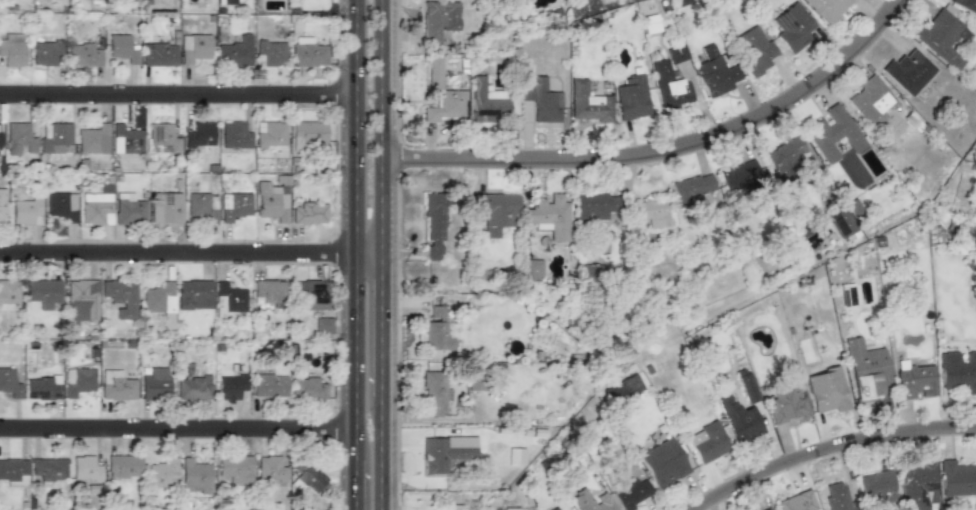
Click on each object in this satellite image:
building: (131, 2)
building: (226, 2)
building: (965, 5)
building: (827, 8)
building: (439, 20)
building: (650, 24)
building: (793, 27)
building: (941, 37)
building: (194, 47)
building: (122, 48)
building: (12, 49)
building: (755, 50)
building: (46, 52)
building: (235, 52)
building: (308, 52)
building: (270, 53)
building: (676, 53)
building: (159, 54)
building: (83, 55)
building: (908, 71)
building: (715, 72)
building: (435, 73)
building: (670, 87)
road: (178, 90)
building: (632, 98)
building: (541, 99)
building: (872, 101)
building: (487, 102)
building: (588, 103)
building: (446, 106)
road: (356, 123)
road: (381, 124)
building: (307, 133)
building: (834, 133)
building: (199, 134)
building: (270, 134)
building: (54, 135)
building: (235, 135)
building: (163, 136)
building: (19, 138)
building: (0, 139)
building: (93, 139)
building: (125, 139)
road: (660, 145)
building: (784, 156)
building: (740, 176)
building: (692, 187)
building: (271, 200)
building: (2, 204)
building: (60, 205)
building: (234, 205)
building: (201, 206)
building: (594, 206)
building: (165, 207)
building: (96, 208)
building: (128, 208)
building: (25, 211)
building: (309, 212)
building: (497, 212)
building: (654, 212)
building: (548, 217)
building: (841, 220)
building: (434, 225)
road: (368, 248)
road: (178, 249)
building: (532, 269)
building: (42, 290)
building: (268, 292)
building: (8, 294)
building: (194, 294)
building: (310, 294)
building: (847, 294)
building: (120, 296)
building: (159, 298)
building: (81, 300)
building: (228, 300)
road: (380, 322)
building: (323, 325)
building: (436, 336)
road: (356, 353)
building: (866, 370)
building: (958, 371)
building: (77, 380)
building: (915, 382)
building: (9, 383)
building: (154, 383)
building: (116, 385)
building: (269, 385)
building: (230, 386)
building: (42, 387)
building: (307, 387)
building: (193, 388)
building: (747, 388)
building: (621, 389)
building: (826, 390)
building: (433, 394)
building: (738, 418)
road: (178, 424)
building: (707, 442)
road: (828, 447)
building: (446, 452)
road: (380, 453)
building: (662, 463)
building: (123, 465)
building: (85, 468)
building: (235, 468)
building: (269, 468)
building: (48, 469)
building: (14, 471)
building: (162, 473)
building: (306, 475)
building: (194, 476)
building: (957, 479)
road: (355, 484)
building: (917, 485)
building: (878, 487)
building: (632, 493)
building: (837, 496)
building: (591, 501)
building: (797, 502)
building: (452, 508)
building: (511, 508)
building: (556, 509)
building: (768, 509)

